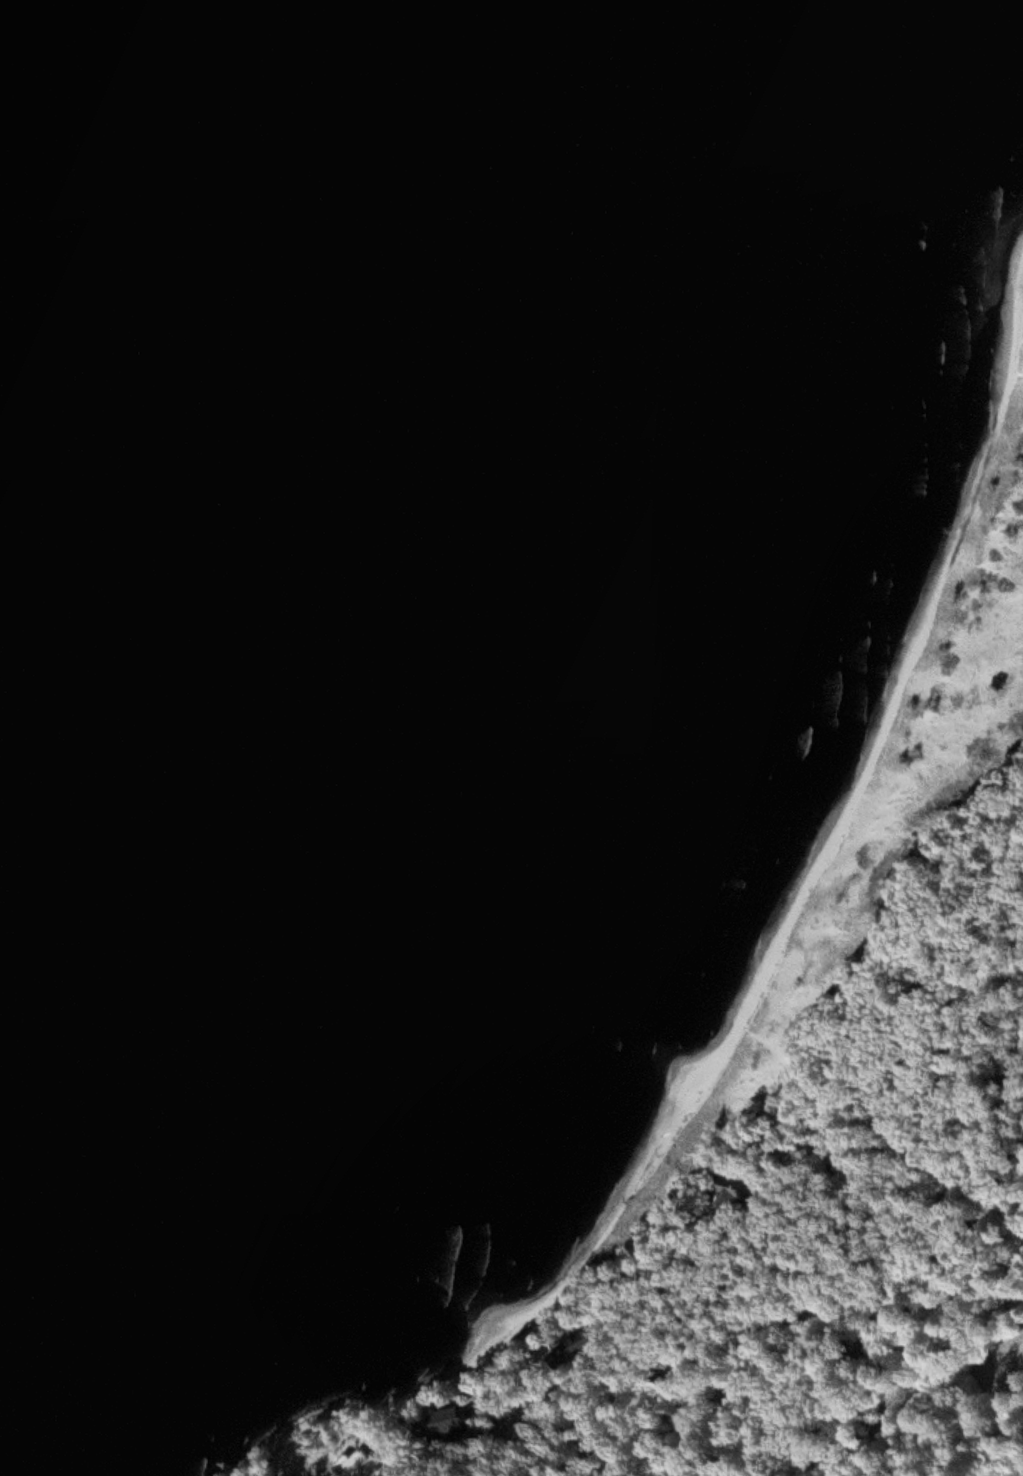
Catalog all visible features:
road: (923, 1167)
building: (739, 1191)
building: (576, 1348)

